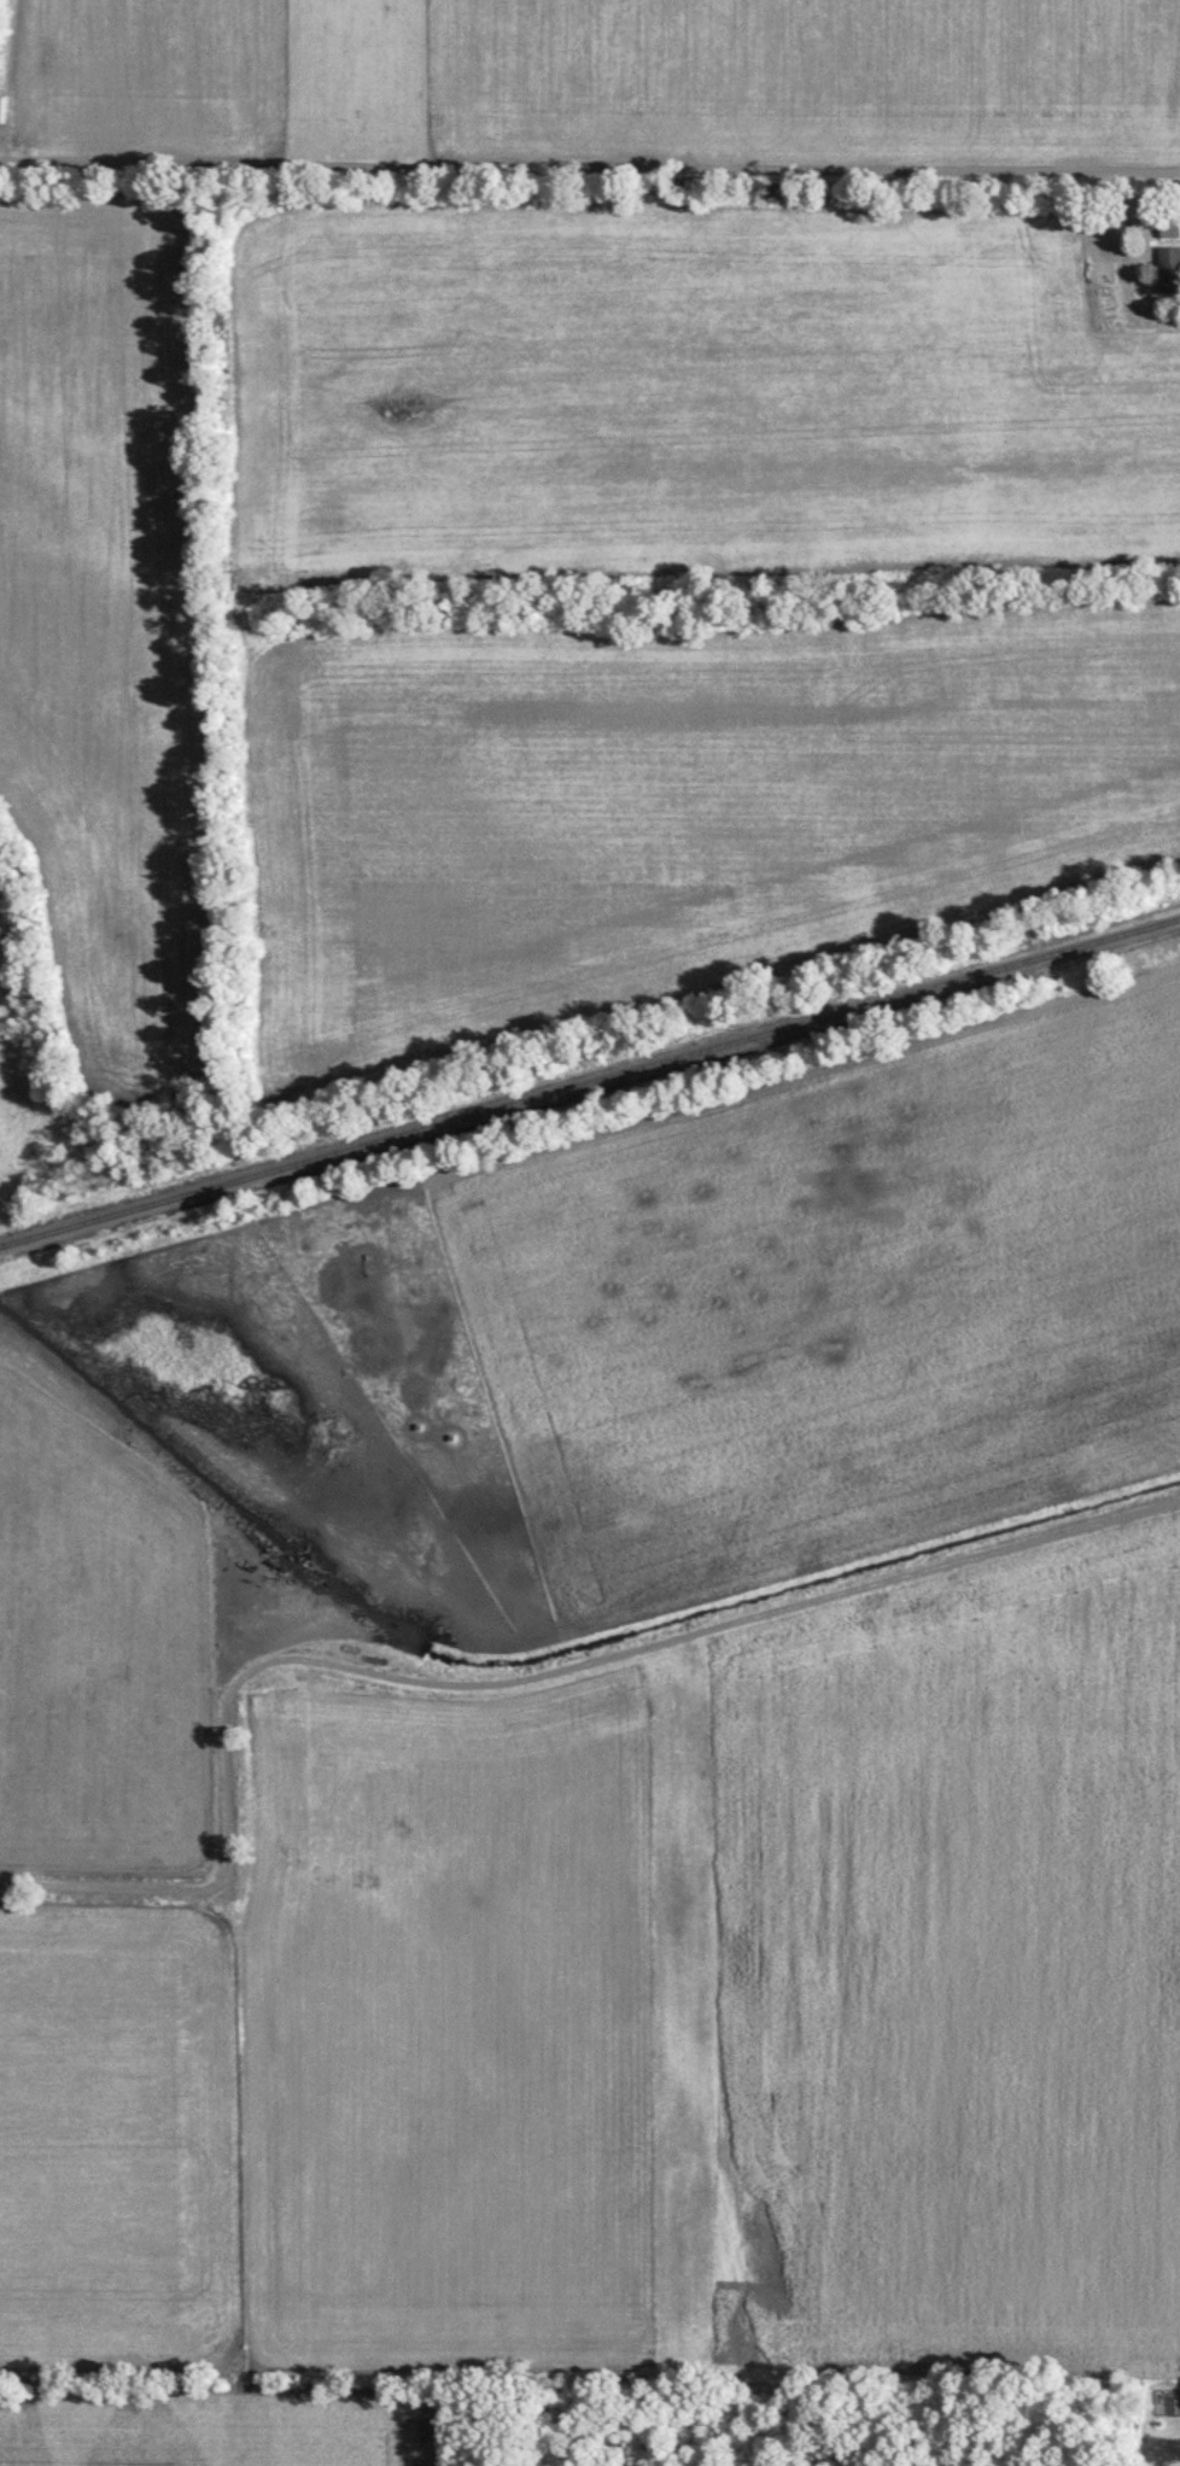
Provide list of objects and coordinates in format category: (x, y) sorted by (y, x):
building: (1170, 226)
building: (1169, 256)
railway: (590, 1082)

